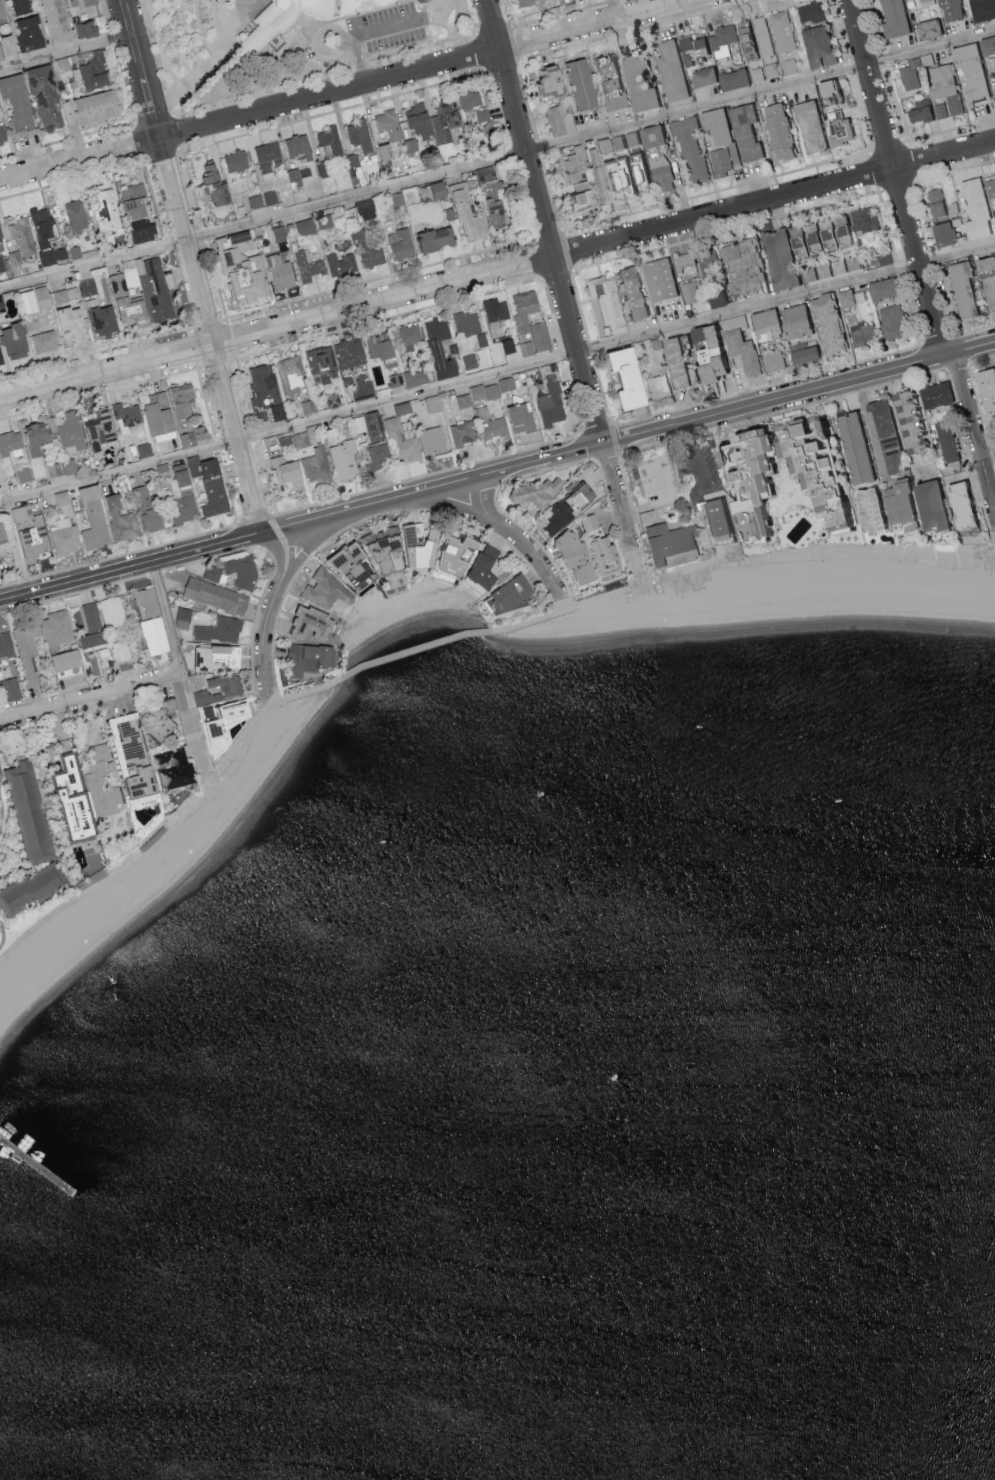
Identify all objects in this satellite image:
building: (523, 2)
building: (925, 2)
building: (87, 3)
building: (22, 7)
building: (948, 9)
building: (980, 9)
building: (2, 10)
building: (810, 10)
road: (360, 13)
road: (564, 13)
road: (505, 14)
road: (105, 15)
road: (466, 15)
building: (891, 17)
road: (456, 19)
building: (282, 23)
building: (66, 24)
road: (877, 25)
building: (926, 28)
road: (632, 29)
road: (333, 30)
road: (494, 30)
building: (781, 30)
road: (837, 32)
road: (380, 33)
building: (32, 34)
building: (762, 35)
road: (112, 38)
parking lot: (368, 38)
building: (721, 40)
road: (516, 44)
building: (986, 44)
building: (816, 45)
road: (217, 47)
building: (8, 48)
park: (291, 48)
building: (691, 48)
road: (157, 50)
road: (480, 51)
road: (65, 52)
road: (886, 57)
road: (361, 59)
building: (788, 65)
road: (502, 66)
road: (849, 66)
building: (770, 69)
building: (968, 69)
building: (669, 70)
road: (325, 71)
building: (909, 73)
building: (701, 75)
building: (731, 78)
building: (544, 82)
building: (636, 82)
building: (575, 83)
building: (606, 83)
road: (123, 84)
building: (943, 85)
building: (828, 89)
road: (343, 92)
building: (49, 99)
building: (471, 100)
building: (19, 101)
road: (527, 102)
road: (898, 103)
road: (171, 105)
building: (100, 108)
building: (940, 109)
road: (334, 111)
road: (858, 112)
road: (173, 113)
building: (919, 114)
road: (155, 119)
building: (554, 120)
building: (436, 121)
road: (134, 122)
building: (484, 123)
building: (714, 124)
building: (389, 125)
building: (836, 127)
road: (951, 128)
building: (776, 130)
building: (743, 131)
road: (176, 132)
building: (810, 133)
building: (3, 134)
building: (649, 135)
building: (361, 136)
road: (66, 139)
road: (141, 140)
building: (616, 141)
building: (330, 142)
building: (299, 147)
building: (689, 147)
road: (888, 147)
road: (539, 149)
road: (181, 150)
building: (733, 152)
road: (163, 153)
building: (388, 153)
road: (497, 158)
building: (351, 161)
building: (719, 161)
road: (910, 161)
building: (237, 162)
building: (566, 166)
building: (324, 170)
road: (875, 170)
road: (954, 170)
building: (660, 172)
building: (486, 174)
building: (591, 174)
building: (627, 174)
building: (298, 176)
road: (898, 176)
road: (73, 178)
building: (607, 180)
road: (897, 183)
building: (217, 185)
building: (989, 186)
road: (193, 189)
road: (717, 189)
building: (440, 190)
road: (551, 193)
road: (153, 199)
building: (264, 200)
building: (575, 200)
building: (934, 201)
building: (135, 203)
building: (399, 203)
building: (497, 204)
building: (974, 209)
building: (367, 212)
building: (994, 212)
building: (108, 213)
building: (470, 215)
road: (927, 215)
building: (78, 217)
building: (865, 219)
building: (325, 223)
road: (887, 223)
building: (306, 227)
road: (726, 230)
building: (941, 232)
building: (281, 234)
road: (546, 234)
building: (146, 235)
road: (205, 235)
building: (1, 237)
building: (46, 238)
building: (437, 240)
building: (22, 243)
road: (165, 244)
building: (403, 245)
building: (343, 248)
road: (568, 249)
building: (76, 253)
building: (372, 255)
building: (881, 257)
road: (937, 257)
road: (536, 258)
building: (684, 260)
building: (851, 262)
building: (982, 262)
building: (758, 263)
building: (2, 264)
building: (342, 265)
road: (192, 266)
building: (309, 266)
building: (837, 266)
building: (243, 268)
road: (497, 268)
road: (899, 268)
building: (815, 271)
building: (283, 273)
road: (556, 273)
road: (557, 273)
road: (378, 277)
building: (658, 278)
road: (217, 282)
building: (880, 288)
building: (89, 289)
building: (961, 289)
building: (988, 290)
building: (142, 292)
building: (629, 292)
building: (704, 292)
road: (177, 293)
building: (66, 296)
building: (844, 297)
road: (948, 298)
building: (34, 300)
building: (603, 304)
road: (581, 305)
road: (909, 310)
road: (553, 313)
building: (497, 316)
road: (388, 317)
building: (792, 320)
building: (734, 321)
building: (891, 321)
building: (106, 322)
building: (468, 323)
building: (824, 323)
building: (524, 324)
building: (763, 324)
building: (74, 325)
road: (208, 327)
road: (974, 330)
building: (862, 333)
building: (411, 335)
road: (938, 337)
road: (228, 339)
building: (15, 342)
building: (45, 342)
building: (482, 345)
road: (196, 346)
building: (508, 347)
building: (440, 348)
road: (591, 348)
building: (382, 349)
road: (563, 351)
building: (741, 351)
building: (801, 351)
road: (93, 353)
building: (349, 354)
building: (1, 357)
building: (705, 357)
road: (981, 357)
building: (669, 359)
road: (216, 360)
building: (773, 360)
building: (471, 362)
building: (322, 366)
road: (957, 366)
road: (499, 371)
building: (617, 377)
building: (416, 378)
road: (769, 384)
building: (656, 386)
building: (363, 390)
building: (493, 390)
road: (602, 390)
road: (245, 391)
building: (267, 392)
road: (798, 392)
road: (952, 392)
road: (101, 393)
building: (985, 393)
building: (935, 394)
building: (186, 401)
building: (464, 401)
road: (977, 401)
road: (207, 404)
building: (552, 404)
building: (434, 405)
building: (308, 408)
road: (783, 409)
building: (404, 410)
building: (160, 414)
building: (128, 416)
building: (521, 419)
building: (906, 420)
building: (361, 425)
building: (492, 426)
building: (790, 427)
road: (870, 427)
road: (974, 427)
building: (374, 428)
road: (597, 430)
road: (974, 430)
building: (101, 431)
building: (71, 434)
building: (464, 434)
road: (257, 435)
building: (884, 435)
building: (38, 437)
building: (194, 437)
road: (992, 439)
building: (433, 441)
building: (294, 442)
building: (946, 442)
building: (404, 444)
building: (11, 445)
road: (217, 446)
building: (851, 447)
road: (992, 449)
road: (987, 450)
building: (145, 451)
building: (378, 456)
road: (608, 456)
road: (994, 459)
building: (345, 461)
road: (983, 463)
road: (994, 463)
building: (318, 466)
building: (62, 469)
building: (994, 470)
road: (544, 472)
building: (289, 473)
building: (25, 475)
road: (267, 476)
road: (426, 476)
parking lot: (683, 476)
road: (700, 477)
building: (180, 484)
building: (749, 484)
building: (211, 485)
road: (227, 487)
building: (538, 494)
building: (574, 496)
building: (63, 499)
building: (145, 500)
road: (981, 501)
building: (893, 502)
road: (663, 503)
road: (444, 504)
building: (957, 504)
building: (926, 505)
road: (631, 507)
building: (864, 508)
building: (183, 510)
road: (611, 512)
road: (255, 517)
building: (647, 518)
building: (555, 519)
building: (95, 520)
building: (122, 520)
building: (153, 521)
building: (719, 521)
road: (301, 524)
road: (349, 527)
road: (493, 533)
road: (248, 534)
road: (292, 534)
road: (993, 534)
building: (3, 535)
road: (316, 535)
road: (514, 536)
building: (65, 538)
road: (14, 540)
building: (35, 541)
road: (538, 543)
building: (668, 543)
building: (422, 546)
building: (594, 546)
building: (388, 550)
road: (134, 552)
building: (459, 557)
building: (568, 557)
road: (211, 558)
building: (681, 558)
road: (746, 562)
building: (352, 567)
road: (638, 569)
building: (484, 571)
road: (156, 573)
road: (24, 581)
road: (9, 585)
building: (327, 591)
road: (74, 595)
building: (505, 596)
building: (216, 597)
building: (147, 603)
road: (270, 608)
building: (113, 613)
building: (92, 618)
building: (183, 619)
road: (276, 624)
road: (254, 625)
building: (314, 625)
building: (58, 629)
building: (221, 632)
building: (155, 637)
building: (94, 641)
building: (27, 644)
road: (415, 649)
building: (6, 650)
building: (218, 658)
building: (310, 660)
building: (68, 662)
road: (175, 663)
road: (180, 666)
road: (144, 671)
building: (10, 690)
building: (232, 691)
road: (91, 696)
building: (166, 729)
building: (136, 757)
building: (176, 770)
building: (1, 771)
road: (208, 781)
building: (104, 784)
building: (76, 801)
building: (33, 816)
road: (174, 827)
building: (37, 893)
road: (6, 932)
pier: (40, 1168)

